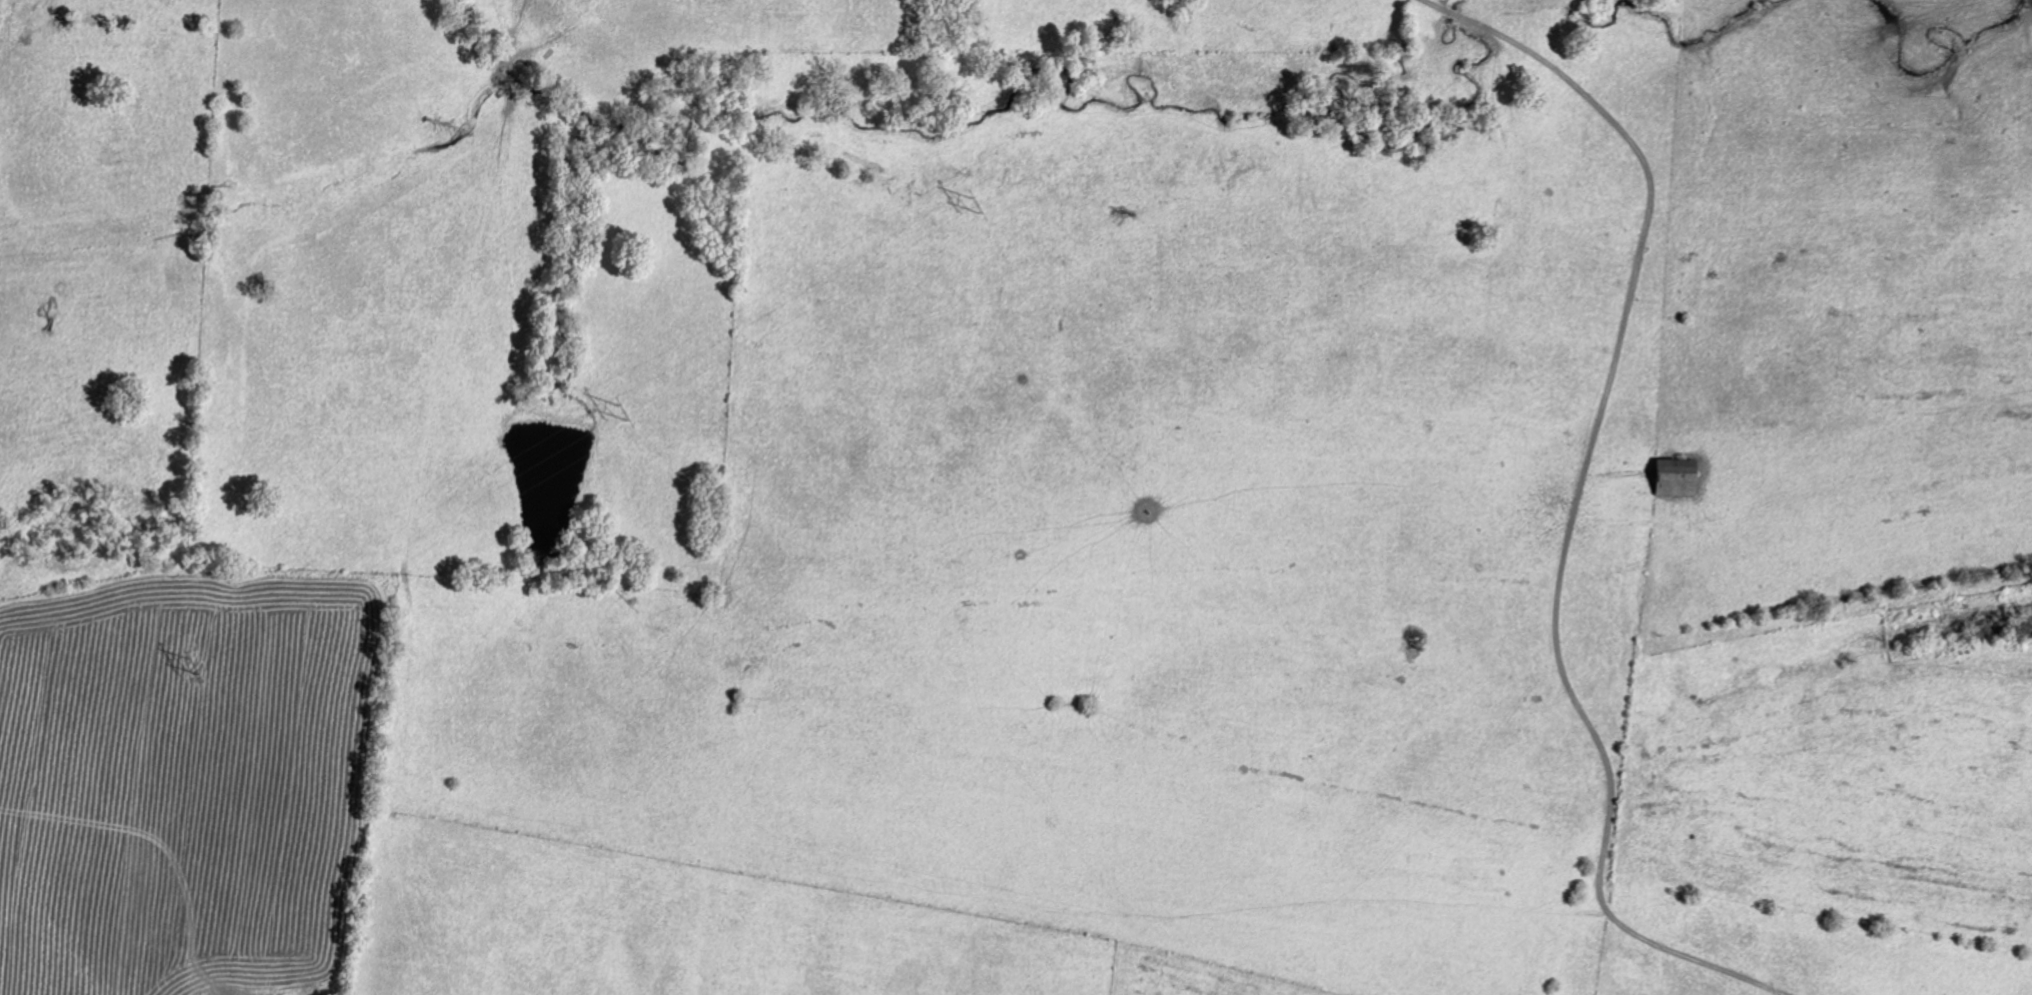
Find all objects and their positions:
power tower: (973, 203)
power tower: (621, 411)
building: (1669, 477)
power tower: (193, 666)

